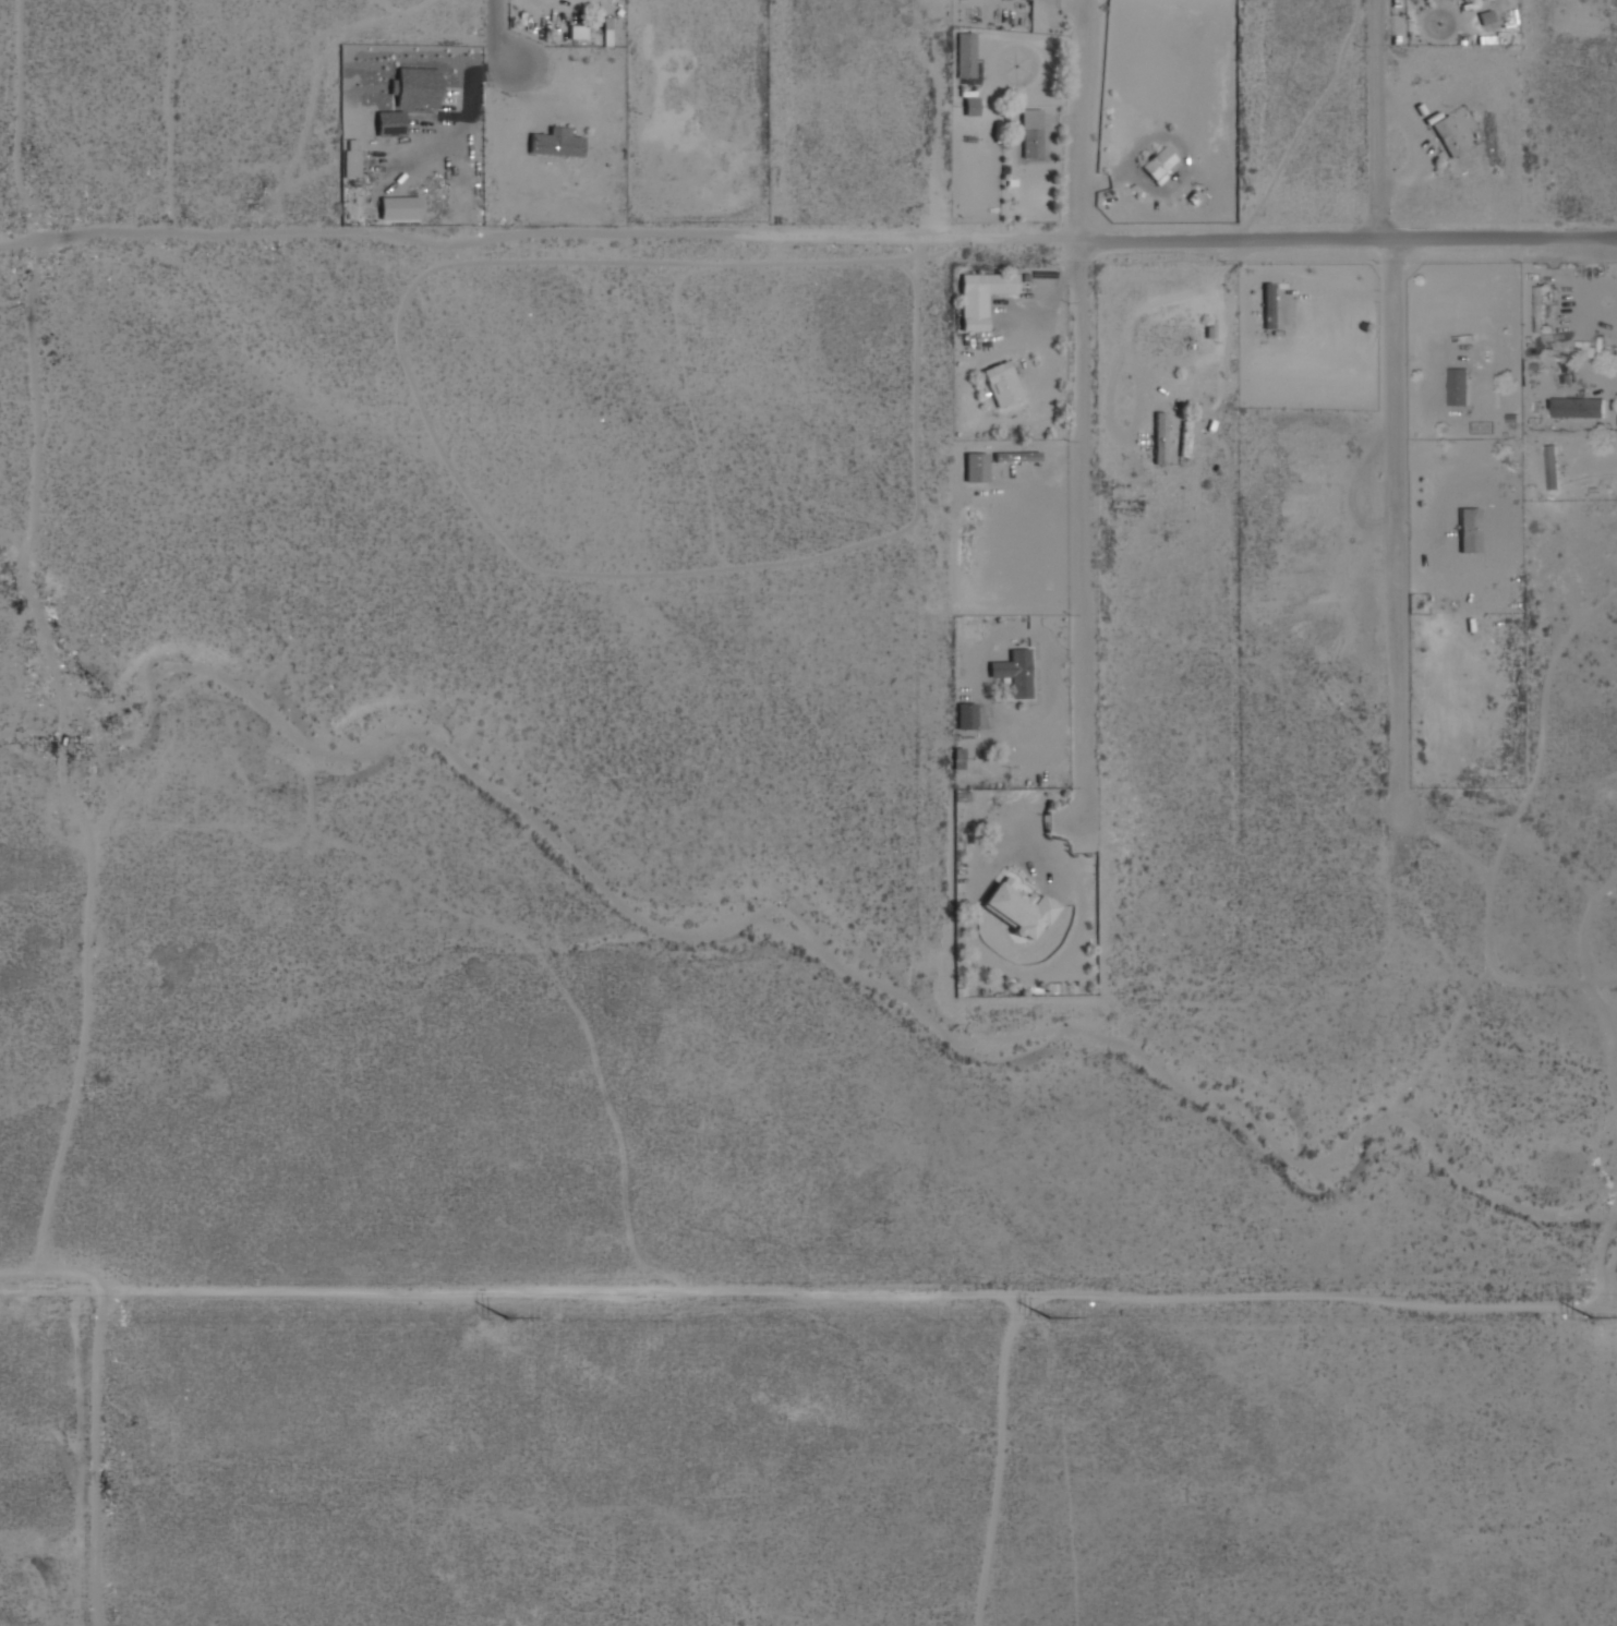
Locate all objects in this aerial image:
road: (506, 33)
building: (964, 69)
building: (415, 86)
building: (970, 106)
building: (389, 122)
building: (1446, 135)
building: (553, 143)
building: (1028, 143)
building: (351, 158)
building: (1156, 164)
road: (1344, 220)
building: (981, 297)
building: (1268, 305)
building: (1538, 309)
building: (1001, 383)
building: (1458, 386)
building: (1577, 407)
building: (1159, 437)
building: (1185, 438)
road: (1077, 444)
road: (1377, 448)
building: (1016, 456)
building: (976, 467)
building: (1552, 467)
building: (1469, 530)
building: (1014, 672)
building: (965, 715)
building: (957, 757)
building: (1018, 907)
power tower: (511, 1320)
power tower: (1050, 1320)
power tower: (1593, 1320)

